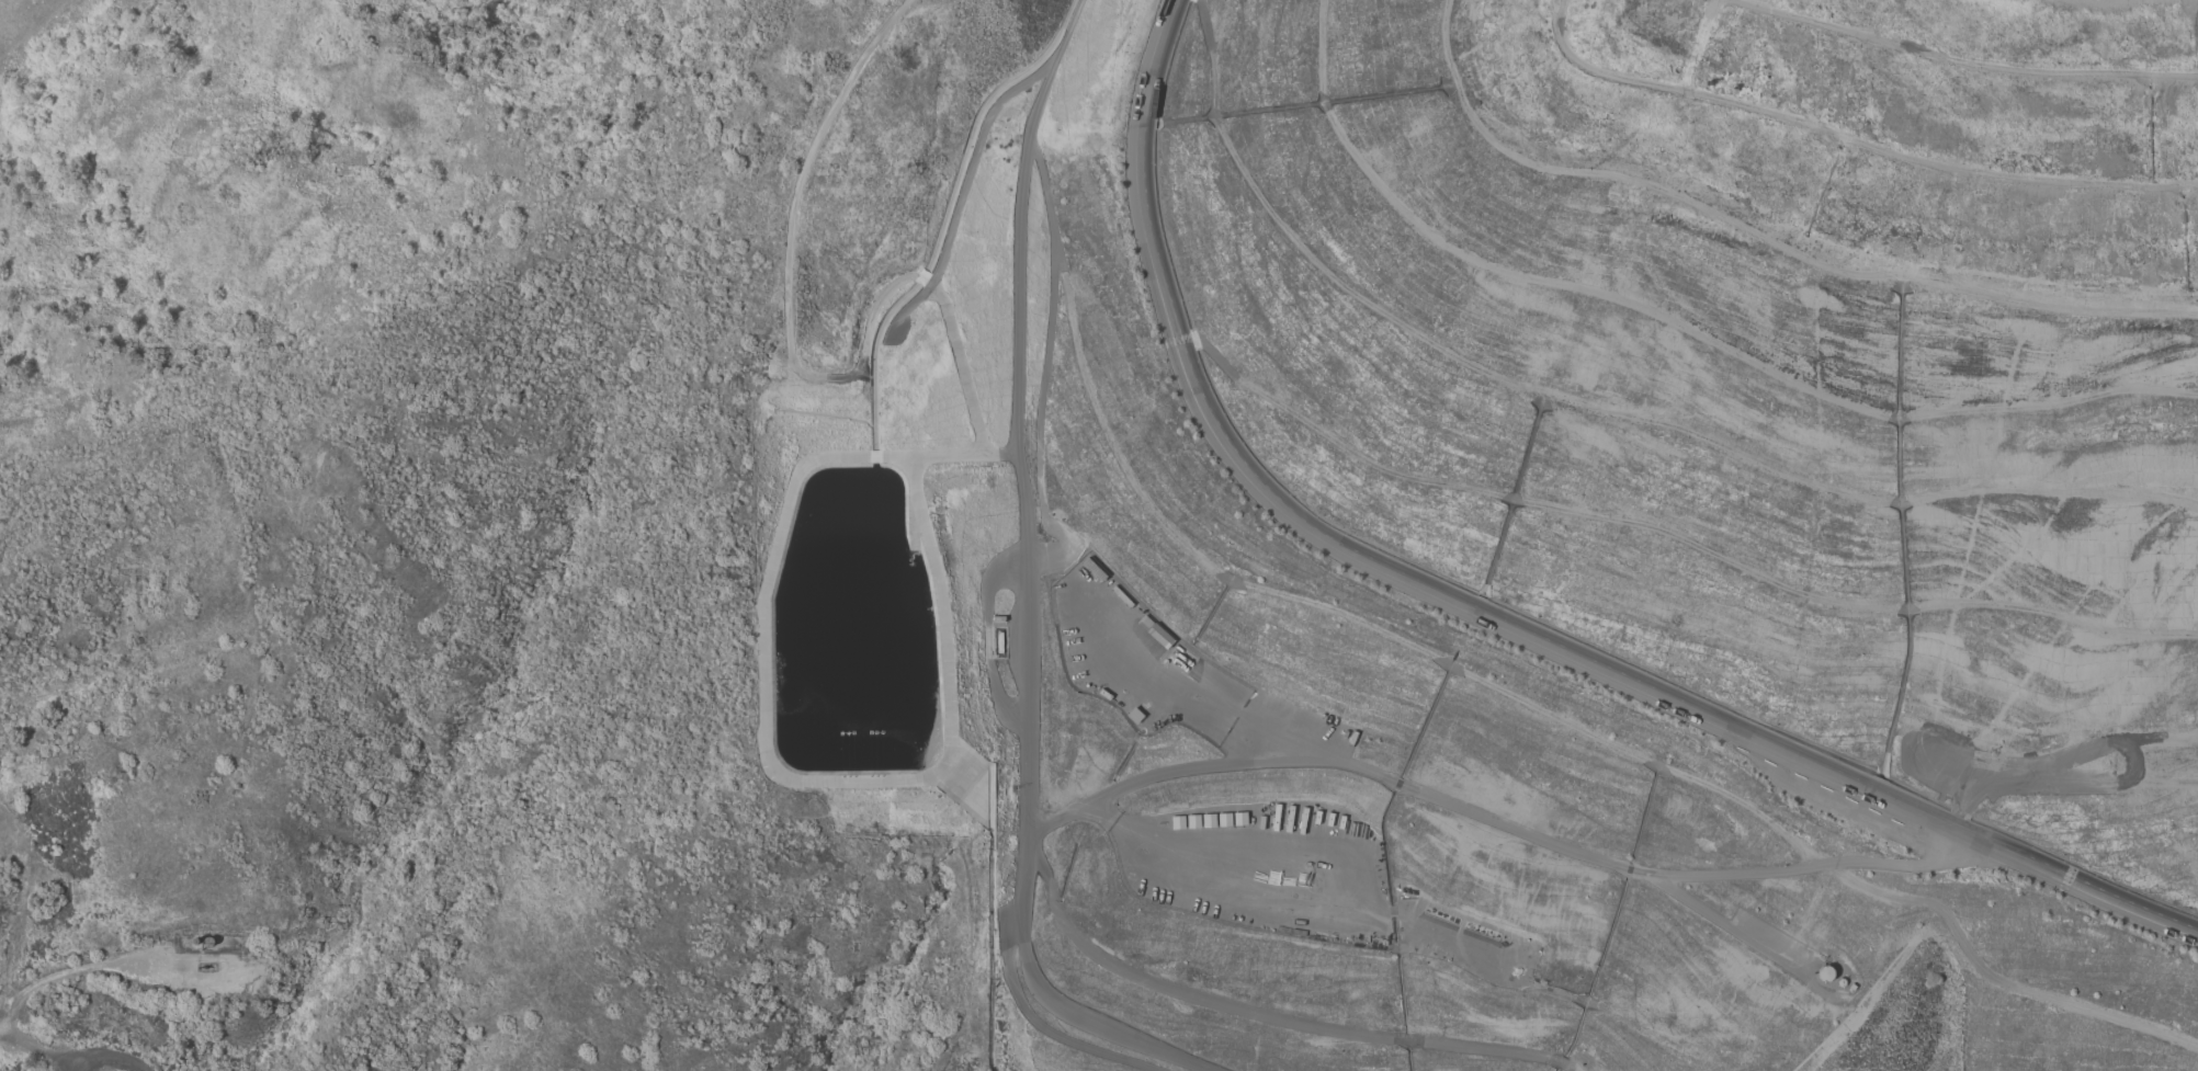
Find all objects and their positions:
landfill: (1523, 524)
landfill: (1523, 524)
road: (1017, 585)
road: (1481, 615)
road: (1153, 648)
building: (1224, 819)
building: (1208, 820)
building: (1192, 821)
building: (1177, 822)
road: (1502, 828)
petroleum well: (204, 966)
road: (64, 972)
building: (1826, 973)
storage tank: (1826, 973)
building: (1840, 982)
storage tank: (1840, 982)
road: (1265, 1016)
road: (112, 1059)

